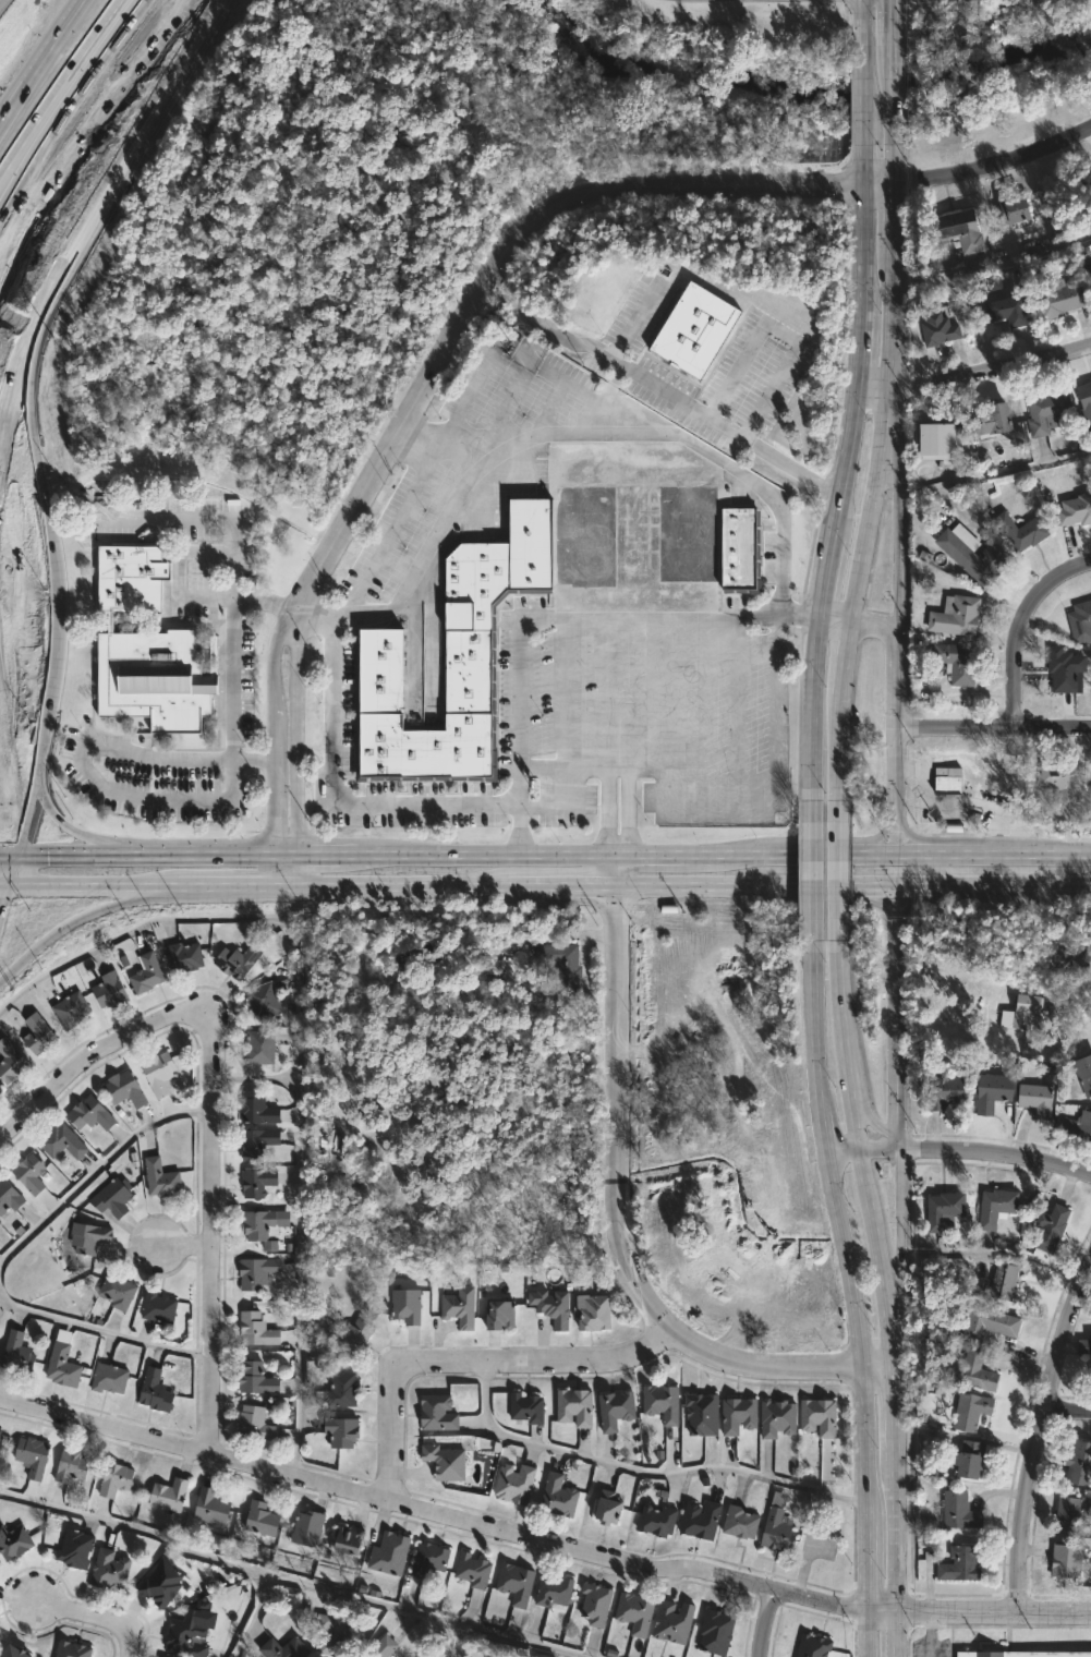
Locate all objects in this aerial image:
road: (74, 8)
traffic signals: (890, 8)
road: (862, 22)
road: (890, 22)
road: (32, 58)
road: (58, 63)
road: (37, 68)
park: (993, 69)
road: (56, 84)
road: (863, 94)
road: (890, 94)
road: (83, 98)
road: (3, 128)
road: (864, 162)
road: (892, 162)
road: (994, 166)
road: (36, 176)
road: (877, 182)
road: (739, 185)
road: (2, 197)
building: (1014, 210)
road: (102, 213)
road: (892, 217)
building: (960, 230)
road: (992, 264)
building: (1090, 269)
building: (1063, 299)
building: (1003, 302)
road: (632, 318)
building: (692, 328)
road: (784, 329)
building: (941, 329)
road: (429, 375)
road: (974, 376)
road: (660, 389)
building: (1086, 401)
building: (1047, 412)
building: (996, 419)
road: (602, 431)
road: (888, 437)
building: (945, 439)
road: (992, 475)
road: (841, 489)
building: (1076, 510)
road: (190, 516)
road: (400, 521)
building: (1022, 531)
road: (896, 537)
road: (780, 543)
building: (741, 549)
building: (972, 554)
road: (177, 593)
road: (834, 617)
building: (959, 617)
building: (1081, 622)
road: (1014, 624)
road: (877, 625)
building: (148, 650)
road: (846, 656)
building: (452, 662)
building: (958, 663)
building: (1066, 669)
road: (676, 715)
road: (894, 724)
road: (992, 726)
road: (295, 733)
road: (840, 745)
road: (270, 746)
building: (1064, 782)
building: (949, 786)
road: (108, 789)
road: (344, 802)
road: (5, 818)
road: (876, 835)
road: (913, 835)
road: (54, 836)
road: (147, 851)
traffic signals: (45, 852)
road: (618, 852)
road: (692, 854)
road: (810, 867)
road: (838, 867)
road: (295, 868)
road: (4, 870)
road: (1019, 881)
road: (0, 883)
road: (883, 883)
road: (451, 884)
road: (530, 884)
road: (586, 884)
road: (718, 884)
road: (92, 885)
road: (226, 885)
road: (332, 885)
road: (866, 897)
road: (913, 902)
road: (82, 915)
road: (575, 926)
building: (184, 956)
building: (1071, 956)
building: (238, 960)
building: (488, 963)
building: (558, 963)
building: (146, 967)
building: (109, 990)
building: (263, 1000)
building: (70, 1011)
building: (1023, 1011)
building: (37, 1033)
road: (895, 1041)
building: (259, 1048)
road: (94, 1056)
building: (11, 1061)
building: (158, 1072)
building: (1084, 1072)
building: (0, 1088)
building: (124, 1089)
building: (0, 1090)
building: (945, 1091)
building: (994, 1091)
building: (1039, 1099)
building: (256, 1108)
road: (869, 1112)
building: (90, 1114)
building: (1076, 1130)
building: (61, 1141)
building: (257, 1142)
road: (959, 1150)
road: (860, 1156)
road: (98, 1171)
building: (29, 1173)
building: (160, 1178)
building: (257, 1182)
building: (9, 1196)
building: (112, 1197)
building: (997, 1207)
building: (945, 1210)
road: (620, 1217)
building: (263, 1224)
building: (1051, 1227)
road: (900, 1233)
road: (217, 1236)
building: (88, 1237)
road: (186, 1242)
building: (256, 1272)
building: (998, 1282)
building: (117, 1291)
road: (850, 1296)
building: (407, 1305)
building: (158, 1307)
building: (459, 1307)
building: (554, 1307)
building: (593, 1311)
building: (501, 1314)
building: (991, 1323)
building: (256, 1329)
road: (106, 1331)
building: (351, 1334)
building: (1084, 1346)
building: (16, 1353)
road: (302, 1353)
road: (474, 1362)
building: (62, 1366)
building: (978, 1372)
building: (109, 1378)
building: (257, 1379)
building: (342, 1390)
building: (155, 1391)
building: (662, 1402)
building: (575, 1406)
building: (526, 1408)
building: (616, 1408)
building: (972, 1411)
road: (1067, 1412)
building: (437, 1413)
building: (703, 1414)
building: (739, 1415)
building: (820, 1416)
building: (777, 1418)
road: (894, 1418)
building: (255, 1424)
building: (0, 1431)
building: (342, 1431)
road: (1039, 1434)
building: (32, 1455)
building: (969, 1459)
building: (446, 1462)
building: (1080, 1464)
building: (70, 1466)
road: (642, 1471)
building: (116, 1478)
building: (513, 1484)
building: (169, 1495)
building: (558, 1496)
building: (210, 1507)
building: (609, 1508)
building: (1088, 1509)
building: (958, 1511)
building: (1069, 1514)
building: (260, 1519)
building: (657, 1520)
building: (701, 1520)
building: (741, 1522)
building: (778, 1525)
building: (307, 1528)
building: (349, 1539)
road: (895, 1539)
building: (13, 1543)
road: (540, 1546)
building: (75, 1548)
building: (389, 1553)
building: (428, 1559)
building: (1067, 1560)
building: (961, 1563)
building: (473, 1570)
building: (109, 1571)
road: (291, 1581)
building: (516, 1583)
building: (161, 1584)
building: (554, 1592)
building: (595, 1604)
building: (635, 1612)
road: (70, 1614)
building: (674, 1622)
road: (764, 1622)
building: (716, 1632)
road: (125, 1635)
building: (186, 1635)
road: (895, 1635)
road: (925, 1635)
building: (335, 1637)
road: (460, 1641)
building: (813, 1646)
building: (383, 1647)
building: (283, 1648)
building: (73, 1649)
building: (14, 1653)
building: (1021, 1654)
building: (542, 1656)

